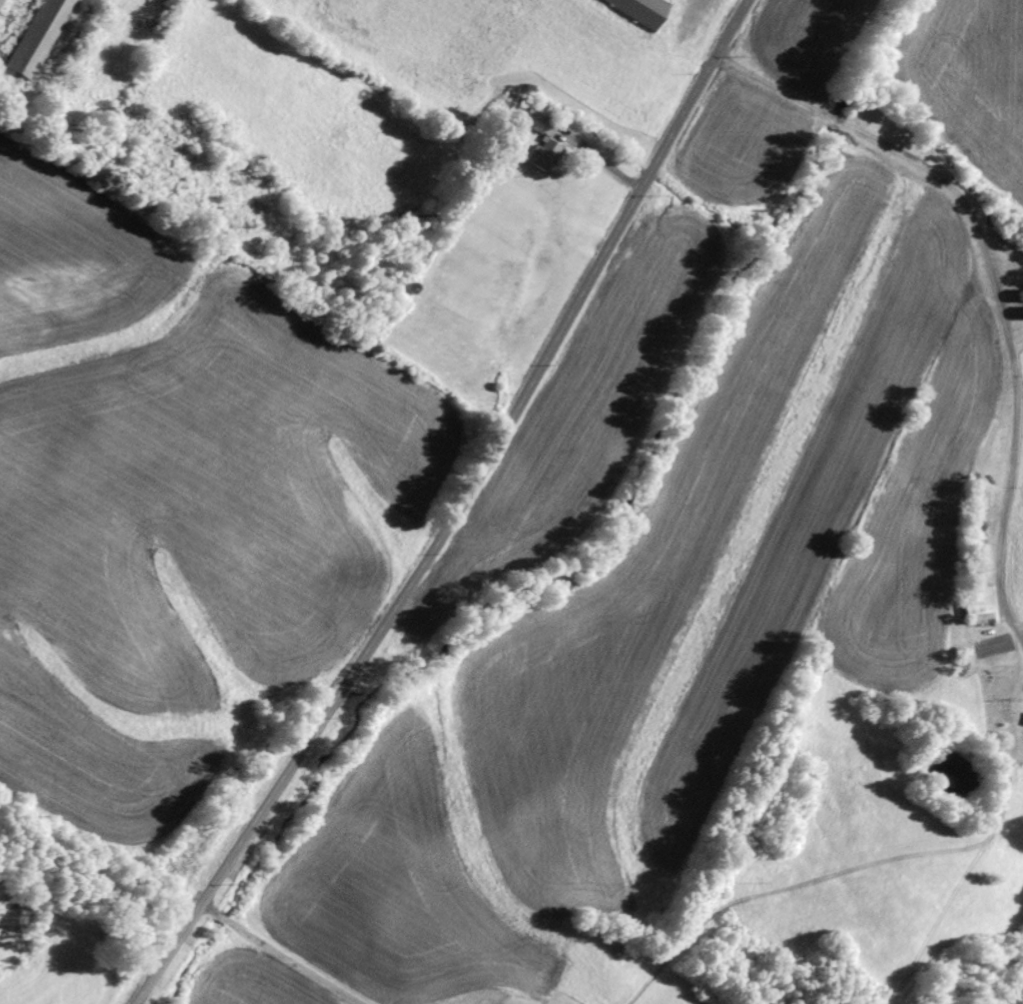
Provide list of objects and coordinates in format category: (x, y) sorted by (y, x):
building: (2, 4)
building: (648, 9)
building: (44, 39)
building: (536, 121)
building: (552, 130)
building: (546, 155)
road: (879, 309)
road: (458, 511)
building: (981, 607)

